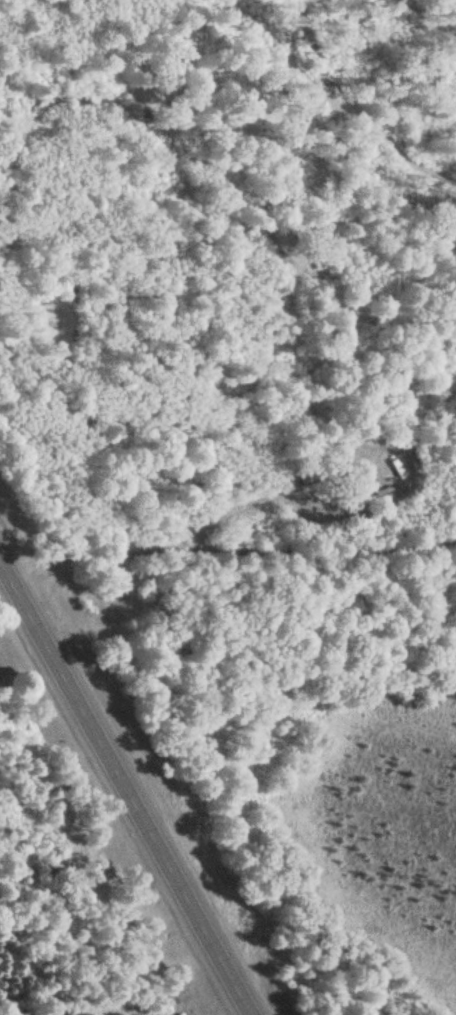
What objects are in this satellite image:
road: (128, 786)

